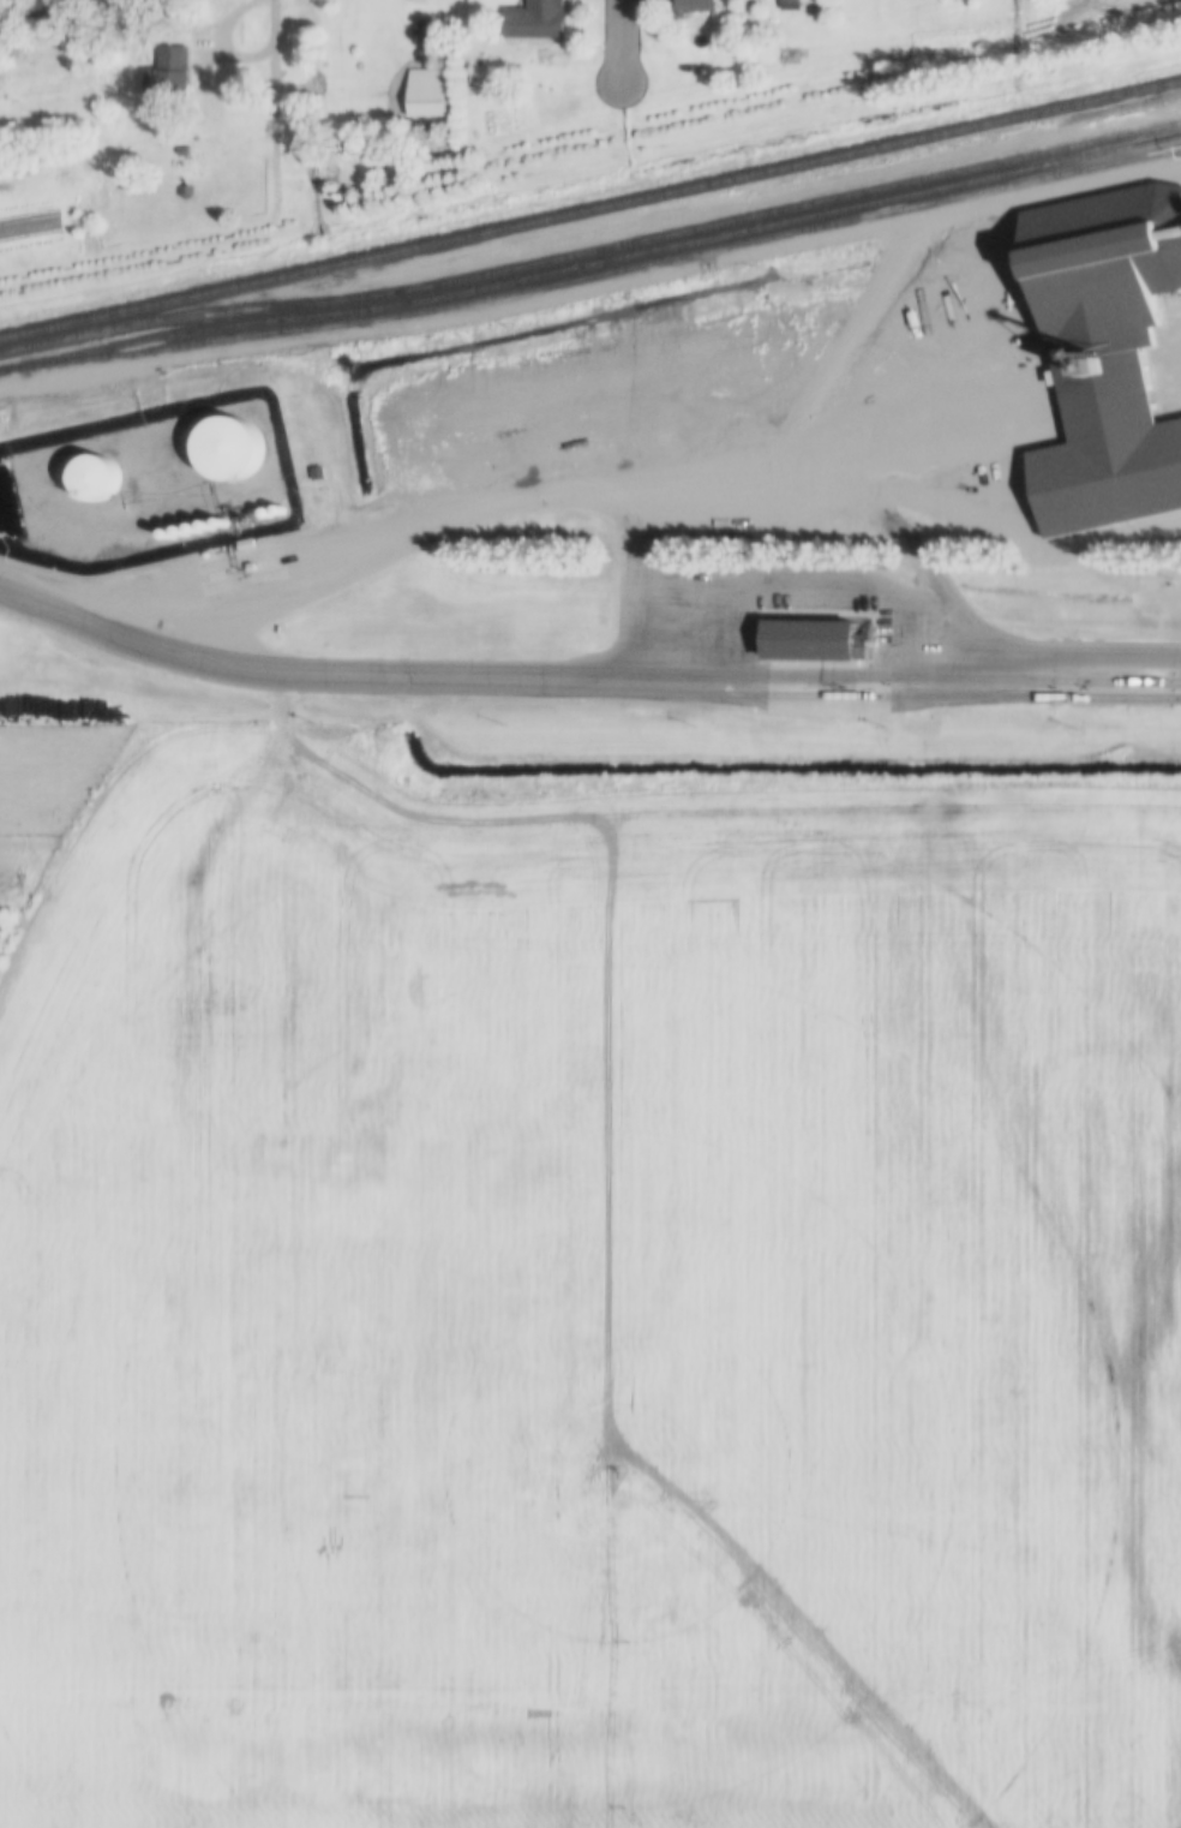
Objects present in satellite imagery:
building: (791, 6)
building: (697, 7)
building: (536, 22)
building: (0, 23)
road: (293, 25)
building: (426, 35)
road: (624, 41)
building: (392, 42)
building: (789, 56)
building: (170, 82)
building: (427, 95)
building: (185, 191)
railway: (590, 207)
road: (224, 243)
building: (1107, 357)
building: (229, 452)
building: (95, 480)
building: (220, 524)
building: (208, 528)
building: (194, 531)
building: (182, 533)
building: (169, 536)
building: (247, 545)
building: (251, 568)
road: (904, 659)
road: (308, 669)
building: (829, 680)
road: (841, 698)
road: (1117, 699)
road: (463, 867)

